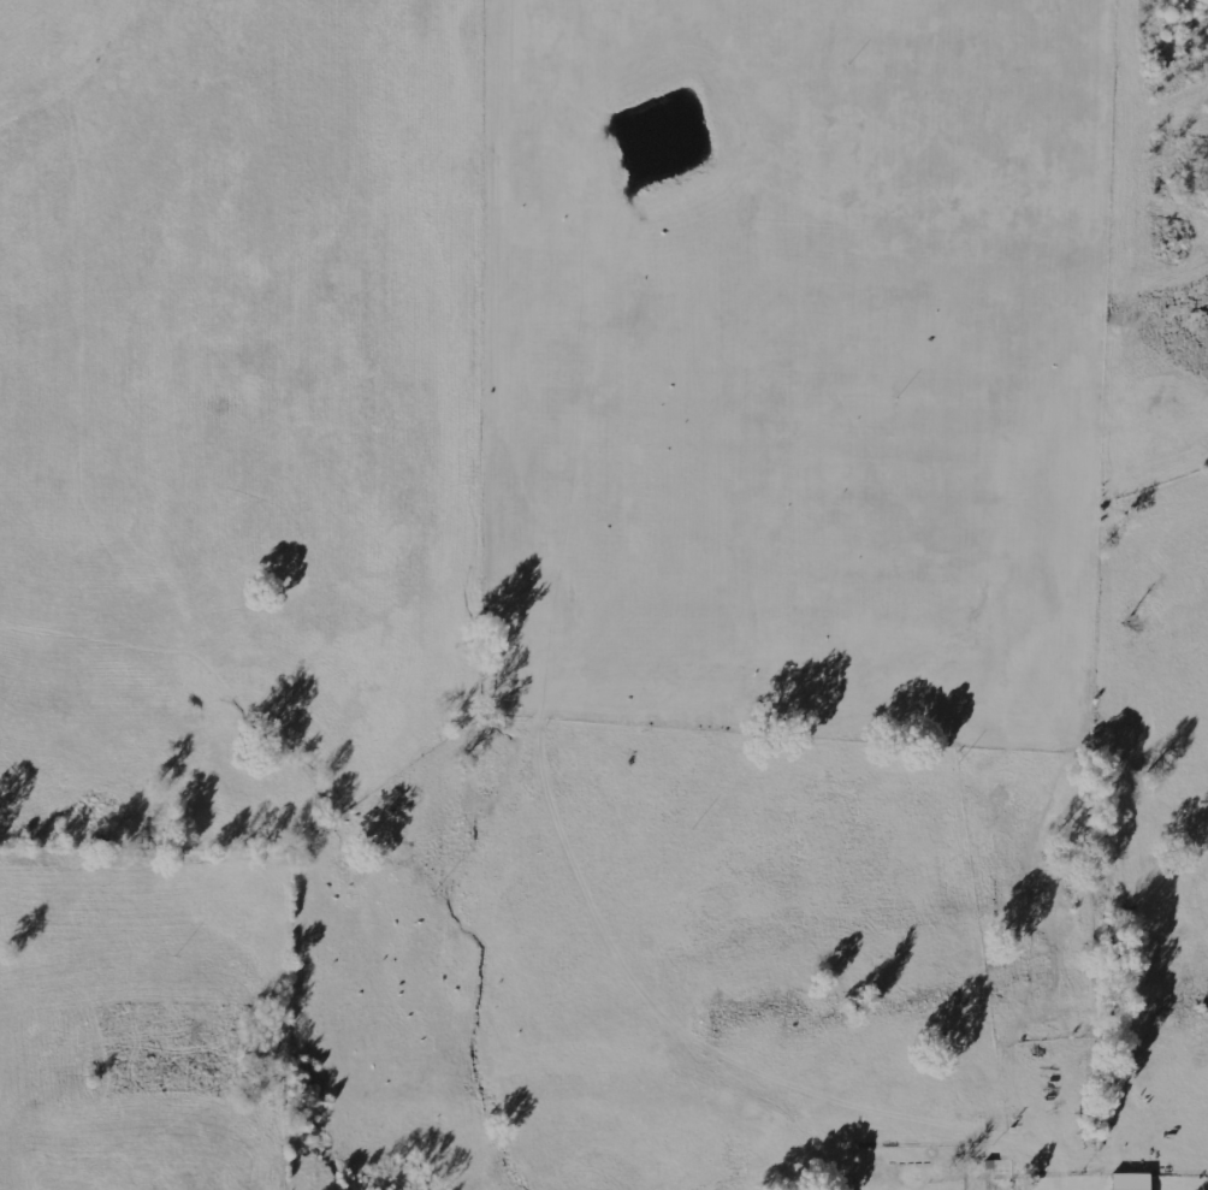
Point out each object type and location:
building: (1132, 1180)

